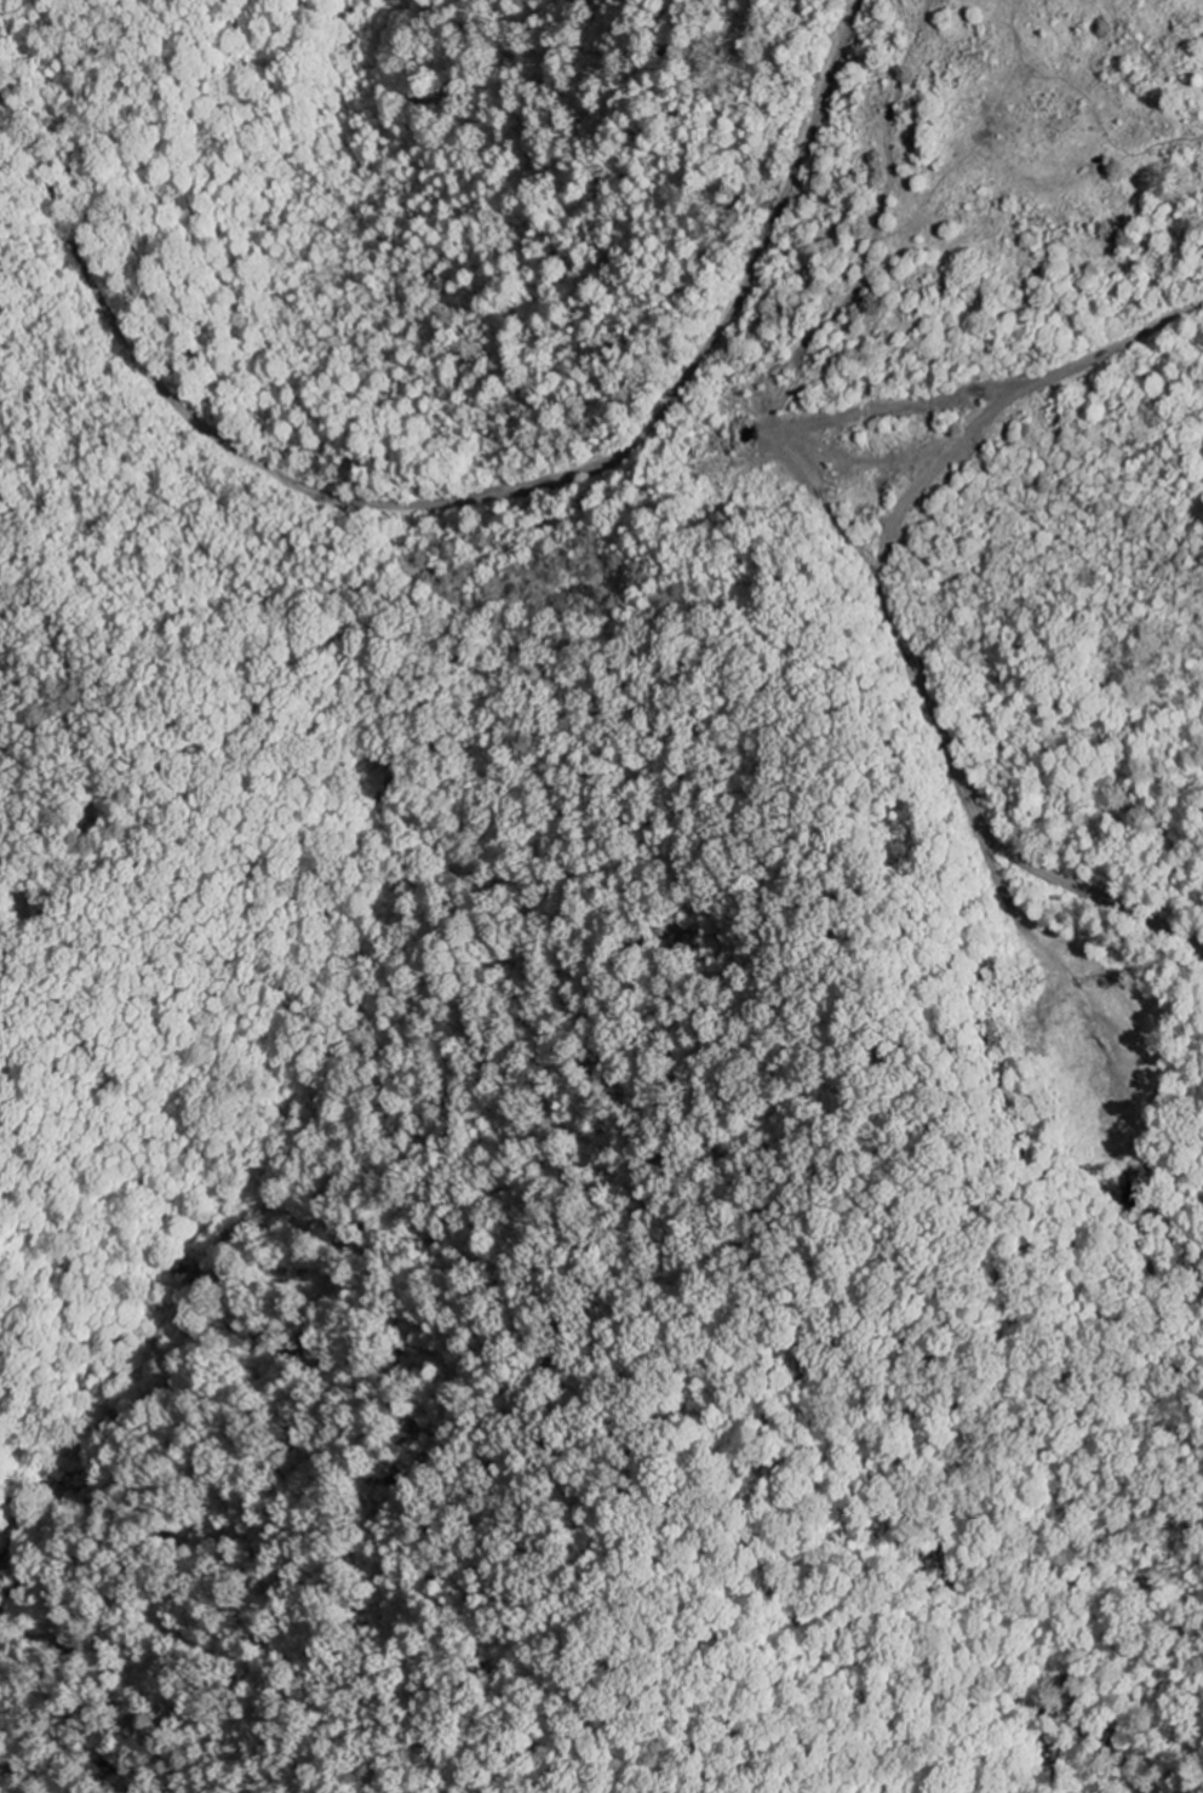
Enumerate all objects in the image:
road: (1085, 314)
road: (728, 503)
road: (195, 594)
road: (386, 1677)

